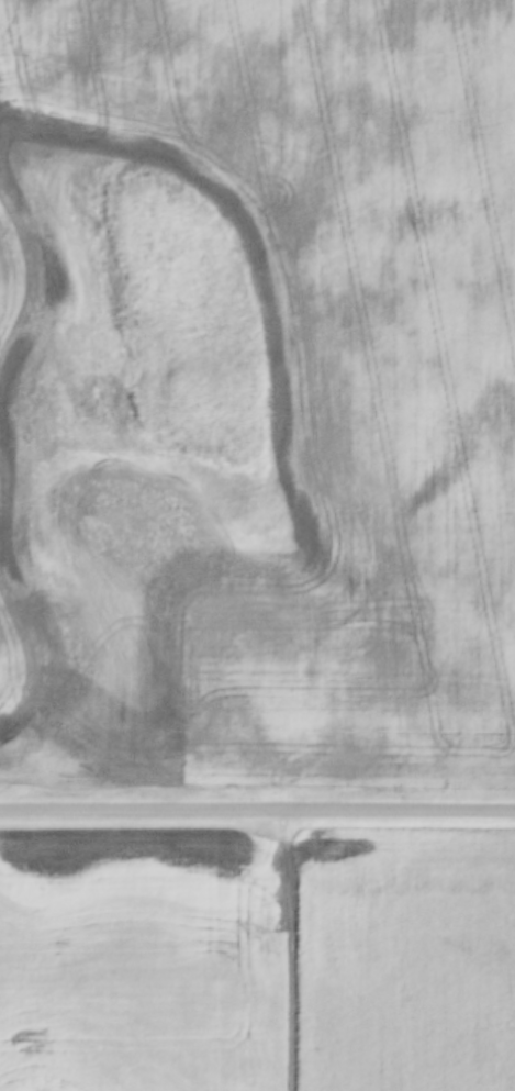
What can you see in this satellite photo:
road: (257, 813)

